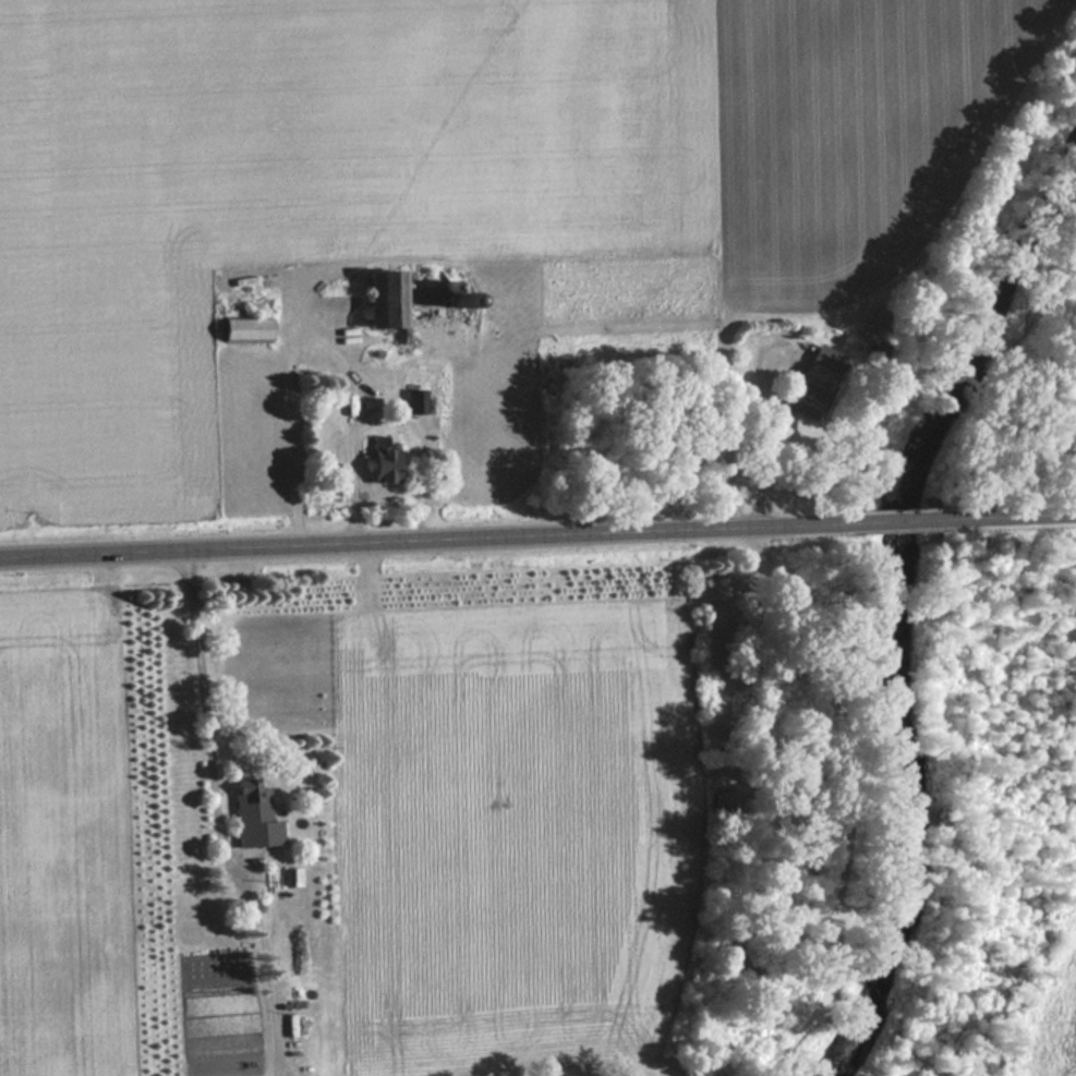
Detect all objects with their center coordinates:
building: (431, 295)
building: (388, 301)
building: (250, 331)
building: (819, 384)
building: (387, 467)
road: (1019, 516)
road: (915, 519)
road: (433, 537)
river: (892, 626)
building: (725, 808)
building: (257, 818)

